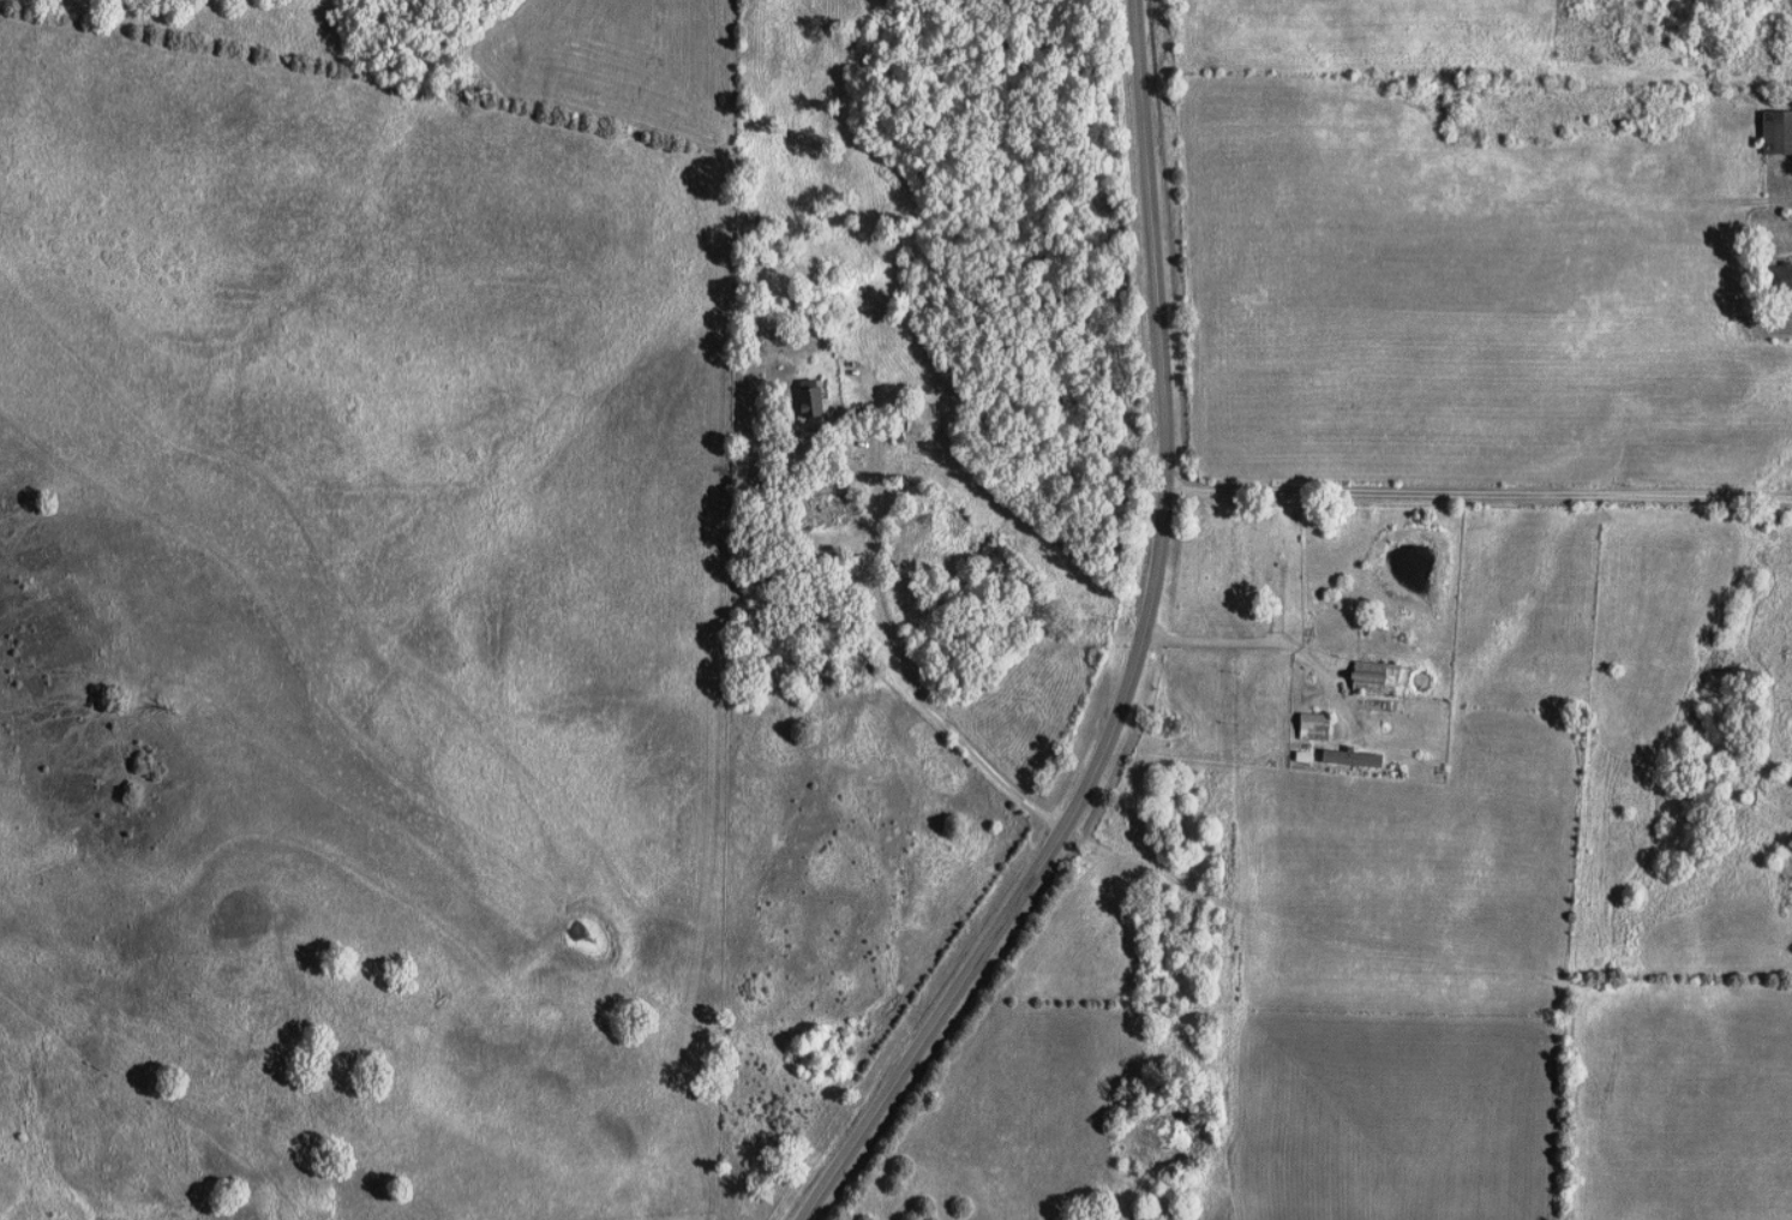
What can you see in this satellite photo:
road: (941, 16)
building: (1776, 132)
building: (1779, 279)
building: (809, 402)
road: (1482, 494)
building: (1261, 551)
road: (887, 610)
road: (1239, 642)
road: (1141, 653)
building: (1314, 725)
building: (1352, 758)

